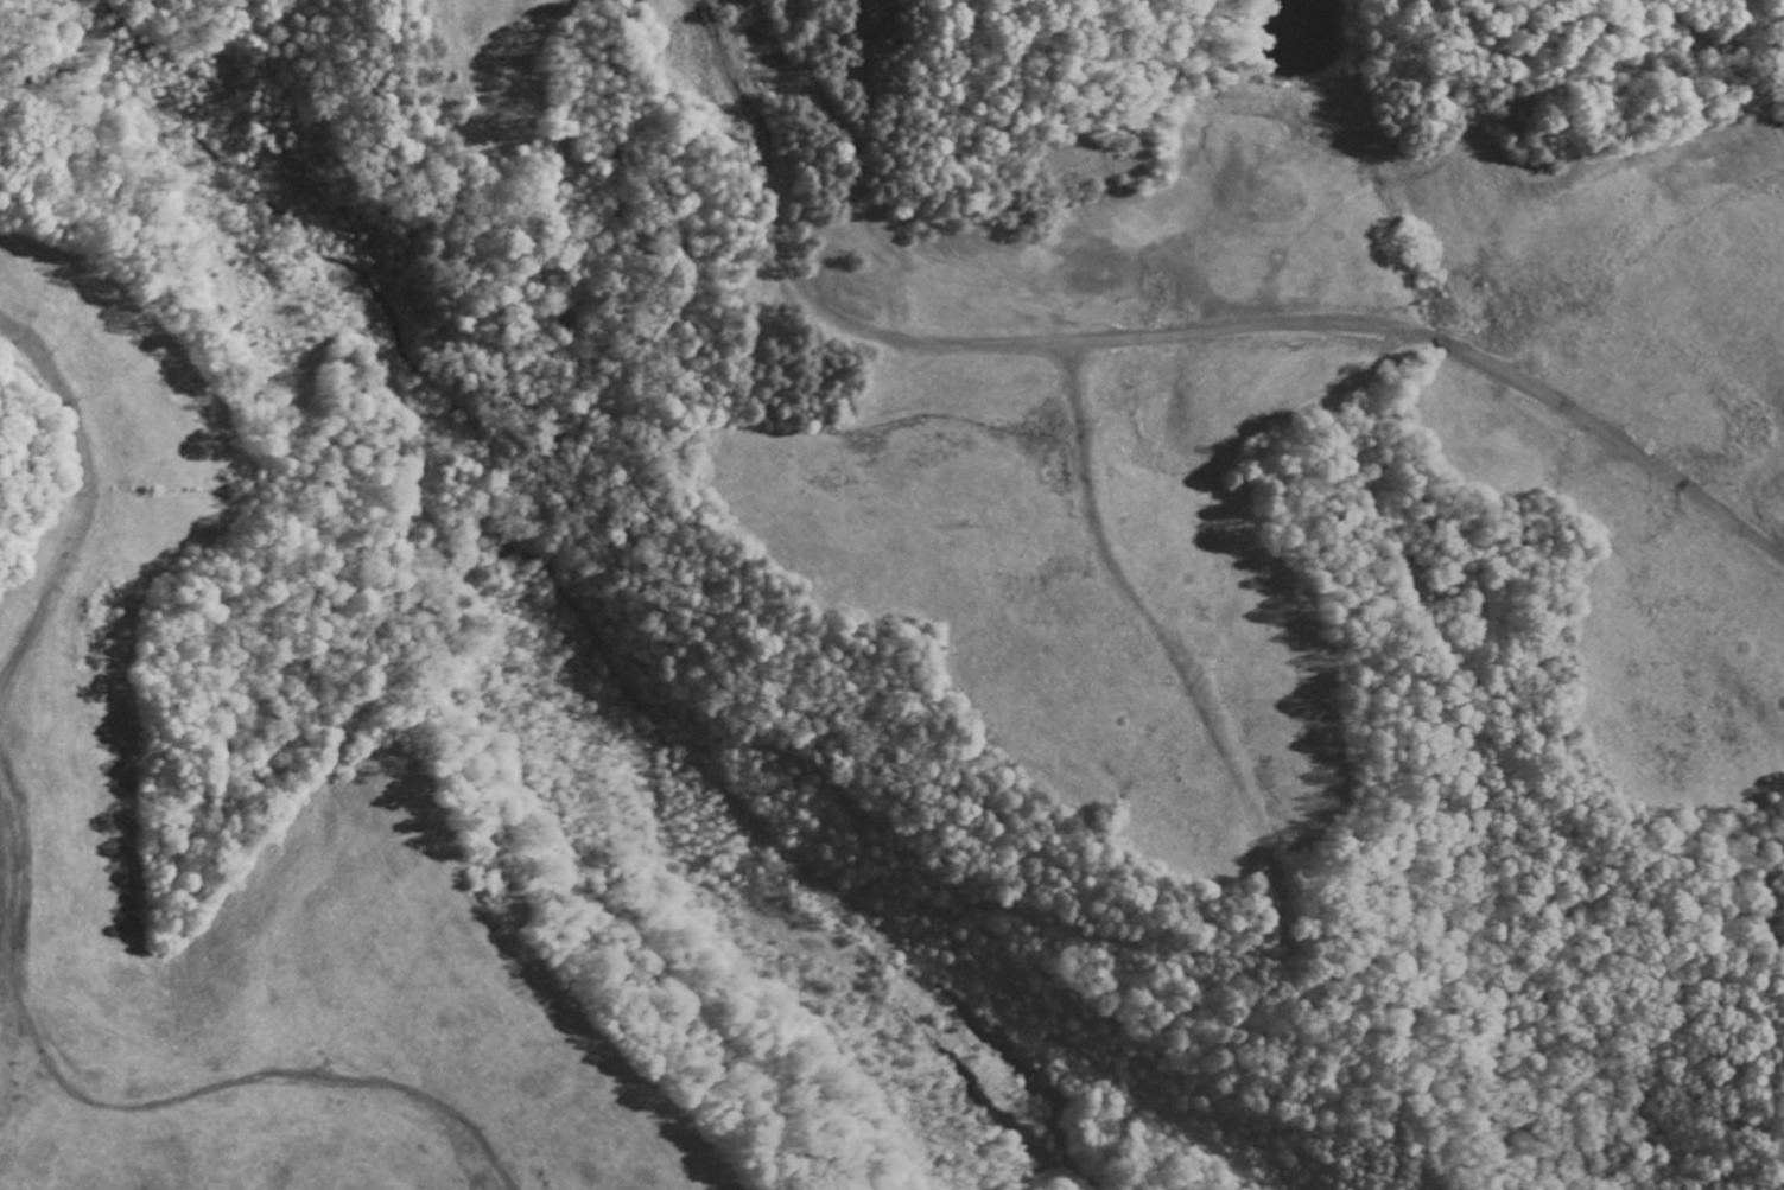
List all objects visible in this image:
road: (1160, 333)
road: (82, 491)
road: (8, 930)
road: (9, 1051)
road: (268, 1075)

